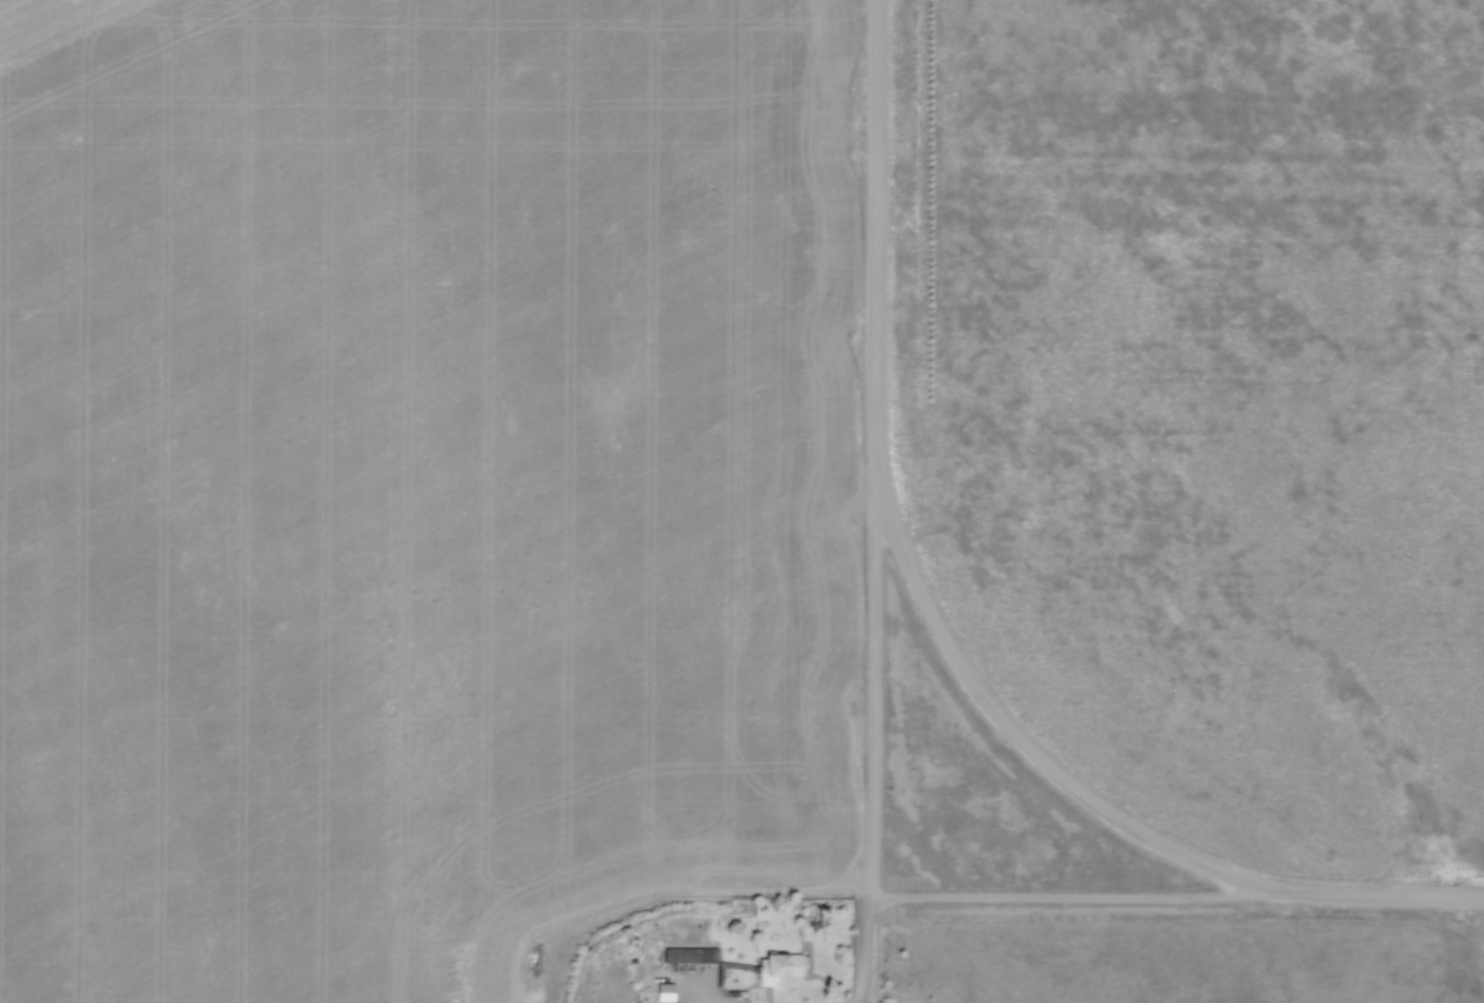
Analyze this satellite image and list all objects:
crop: (417, 484)
road: (941, 630)
road: (873, 746)
road: (1097, 896)
building: (692, 956)
building: (779, 967)

